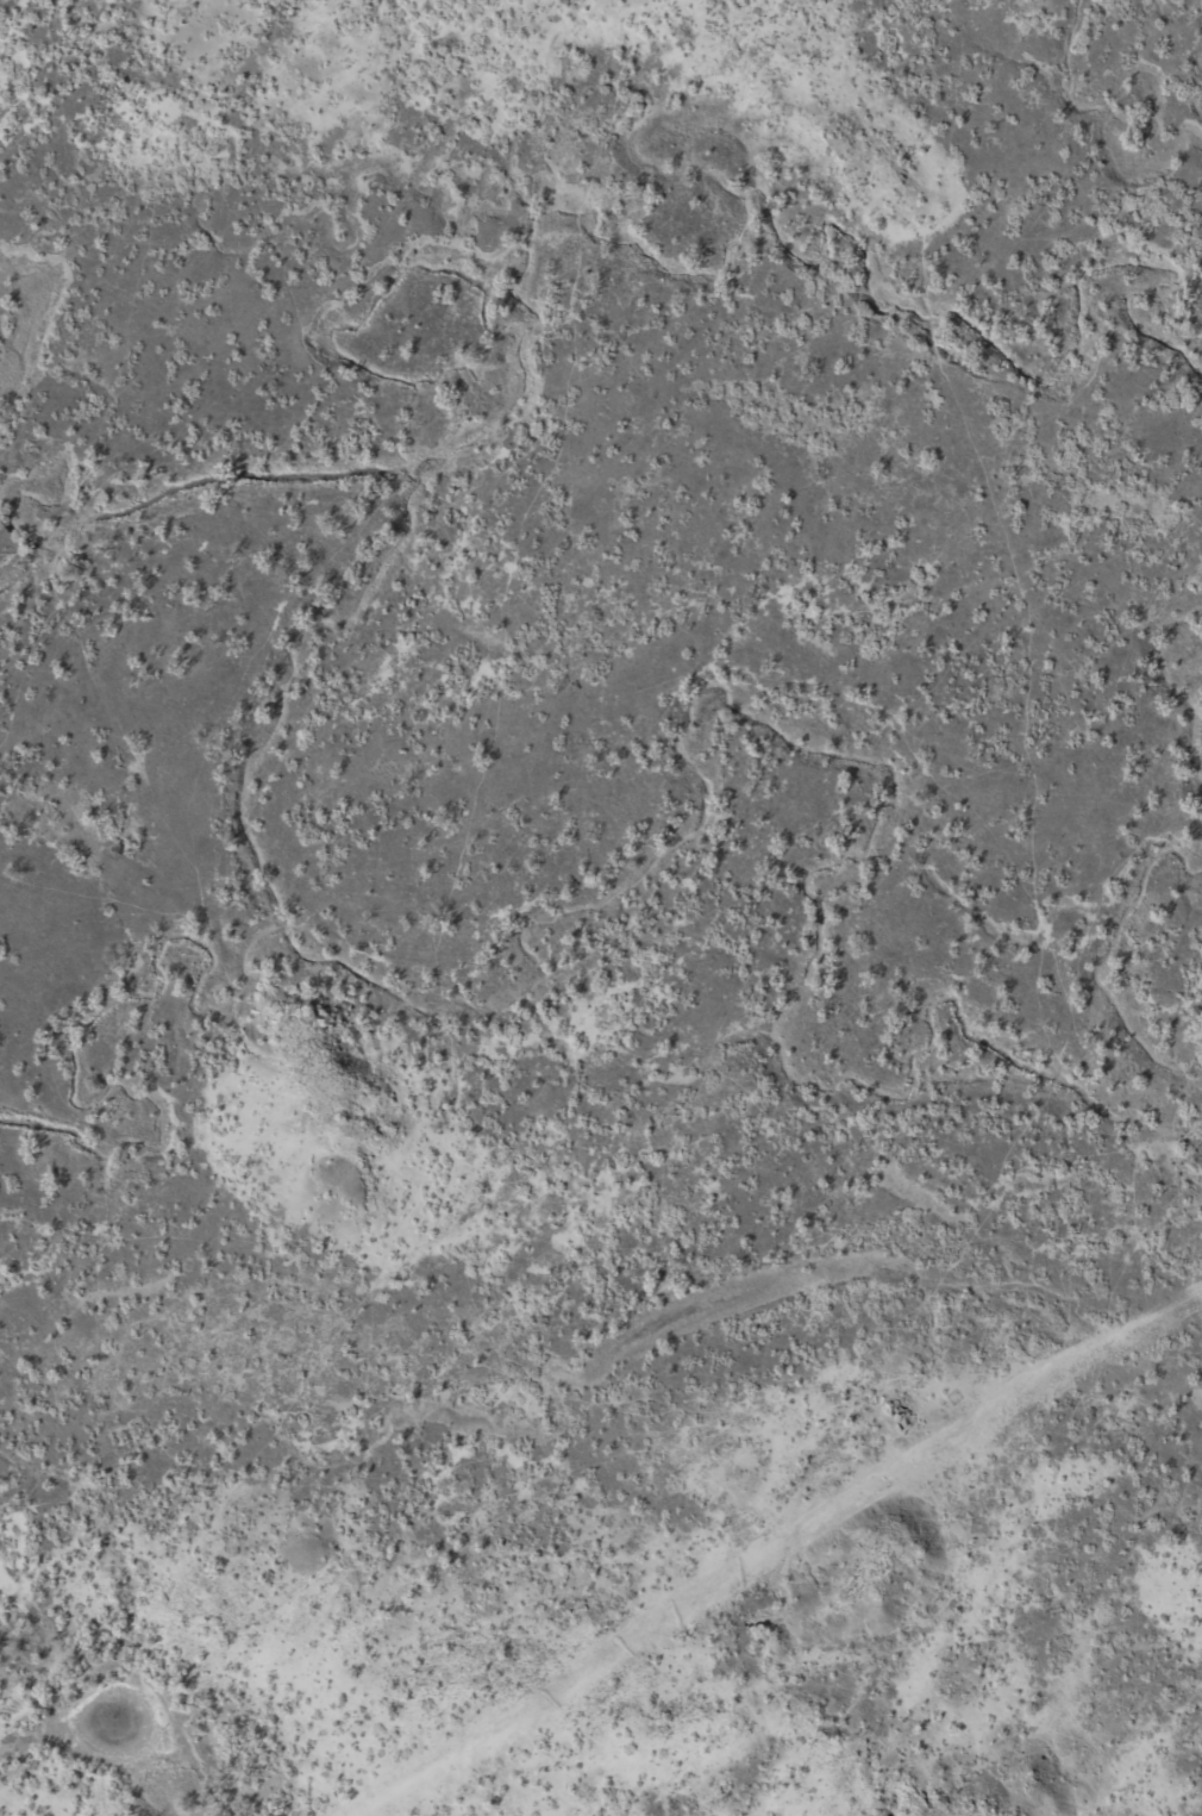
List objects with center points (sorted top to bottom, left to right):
road: (774, 1560)

